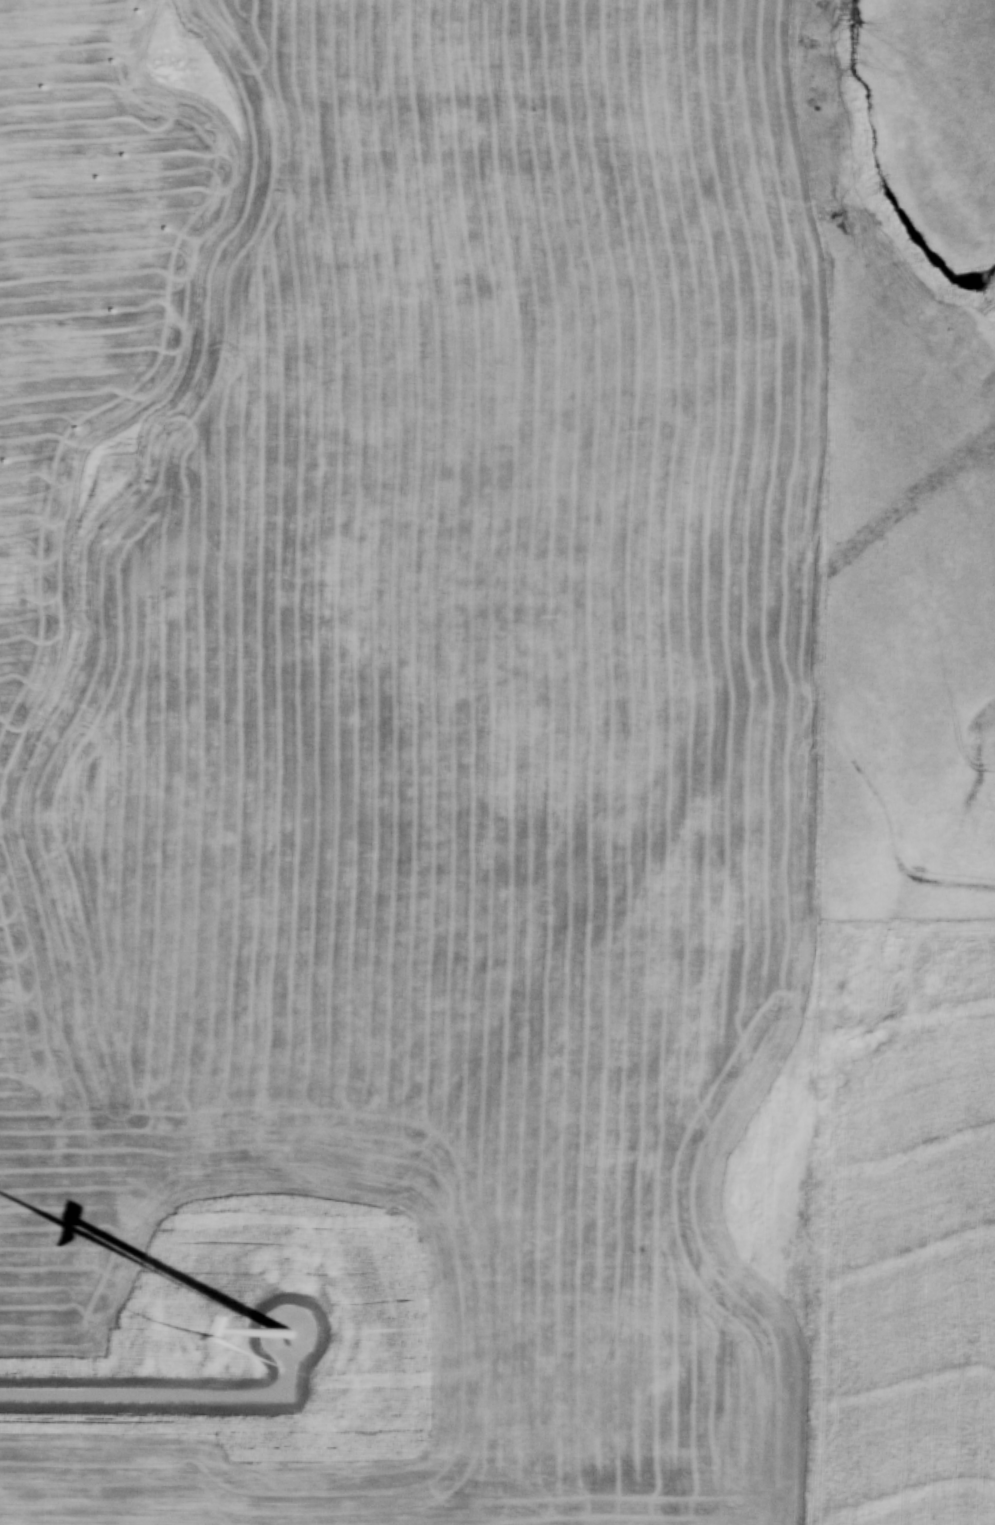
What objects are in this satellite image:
wind turbine: (288, 1326)

